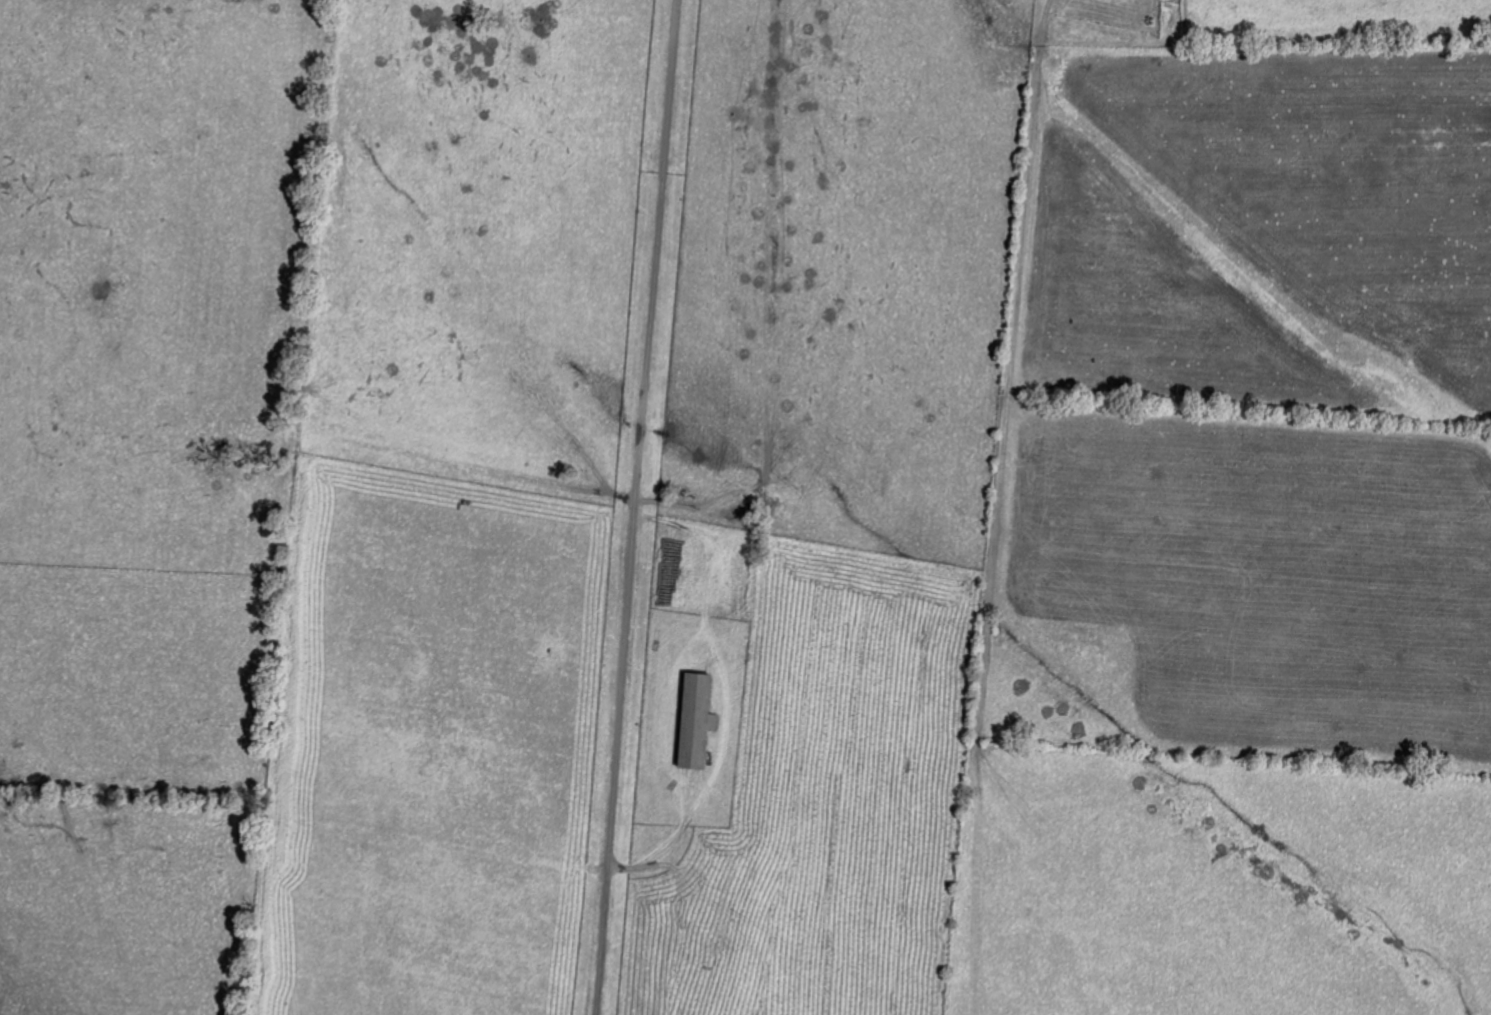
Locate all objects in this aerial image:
building: (692, 720)
building: (711, 722)

